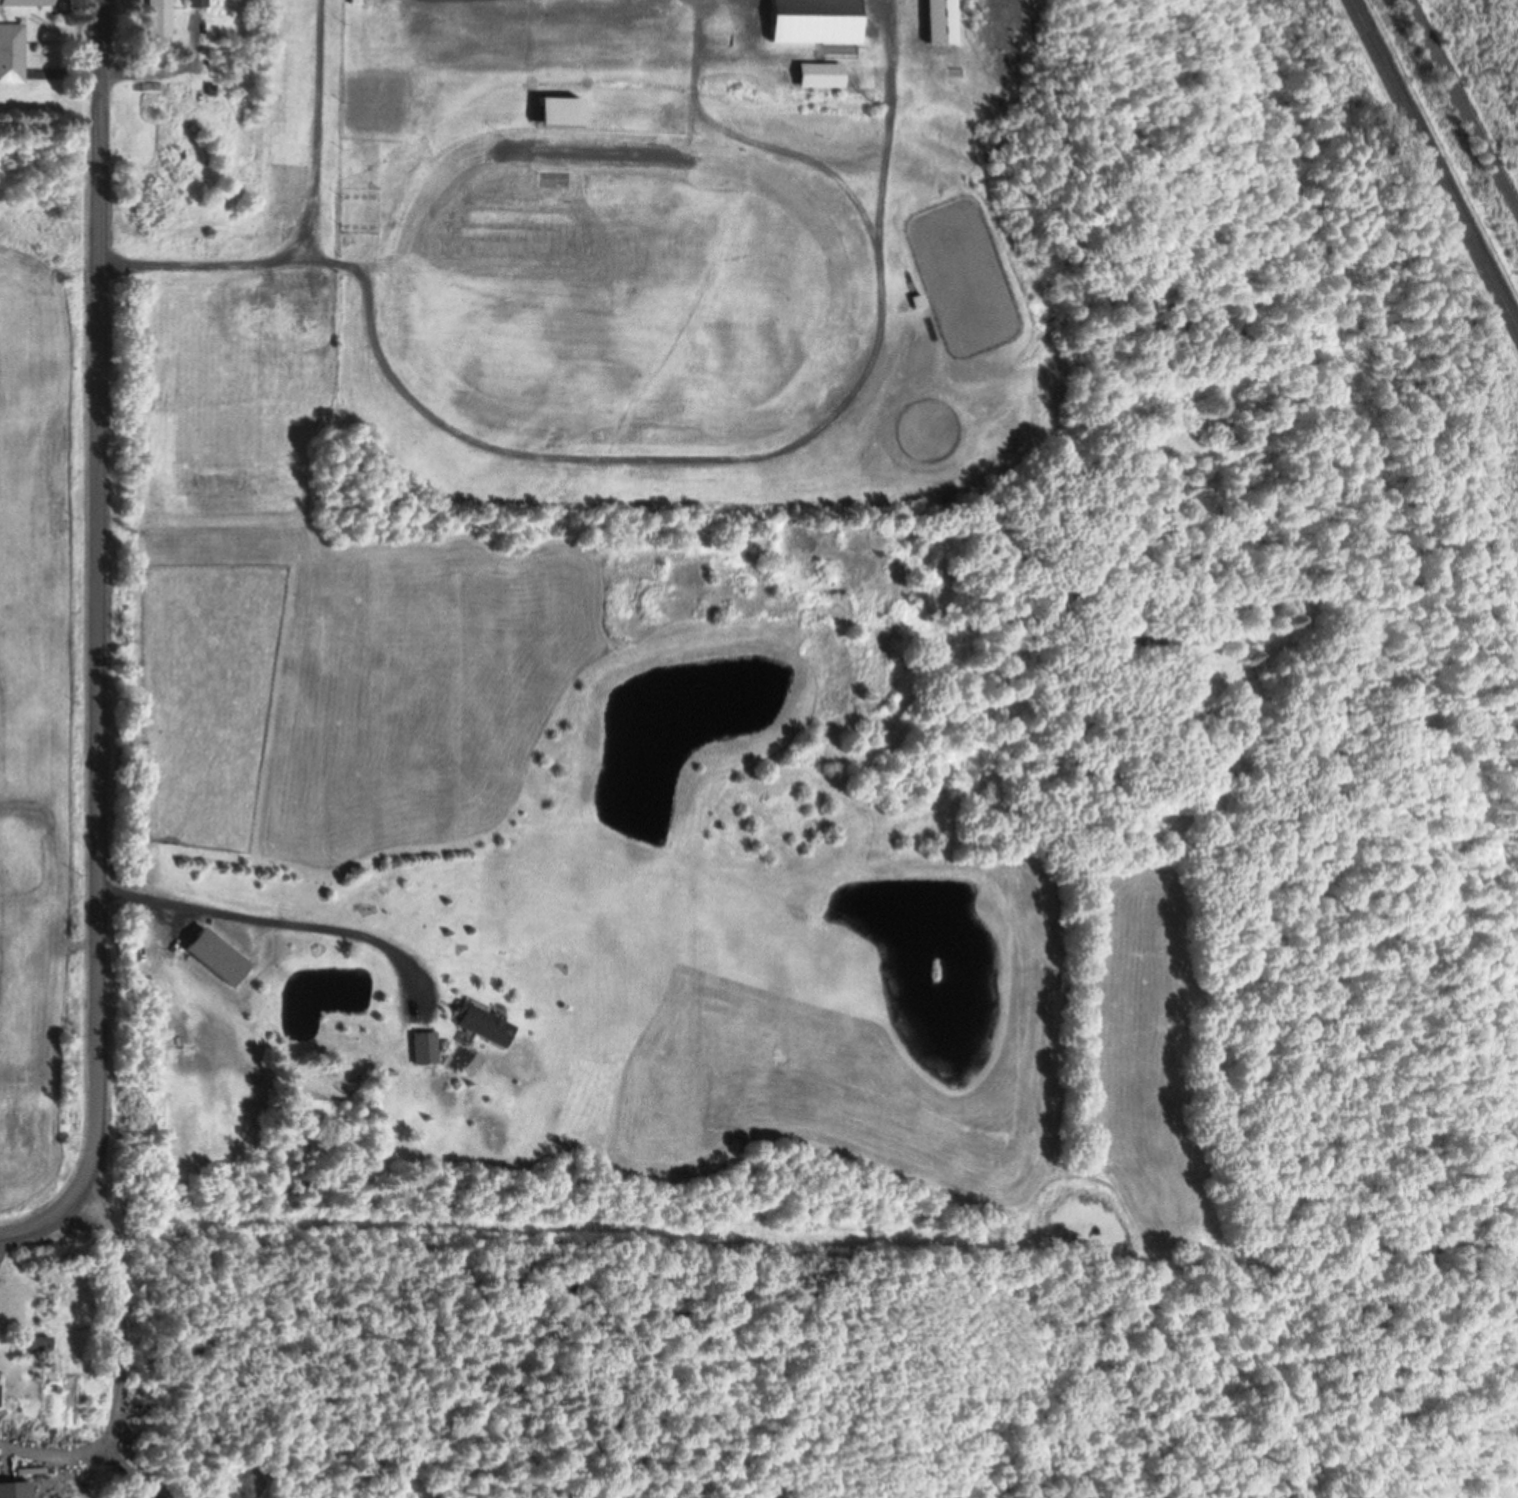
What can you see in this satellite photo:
building: (23, 0)
building: (358, 3)
building: (199, 4)
building: (160, 20)
building: (818, 22)
road: (81, 39)
road: (102, 46)
building: (12, 53)
road: (1462, 105)
building: (564, 113)
road: (321, 133)
road: (750, 145)
road: (1433, 164)
park: (722, 270)
building: (920, 304)
road: (638, 461)
road: (99, 660)
crop: (44, 714)
building: (217, 959)
building: (484, 1027)
building: (424, 1049)
road: (32, 1233)
building: (35, 1348)

